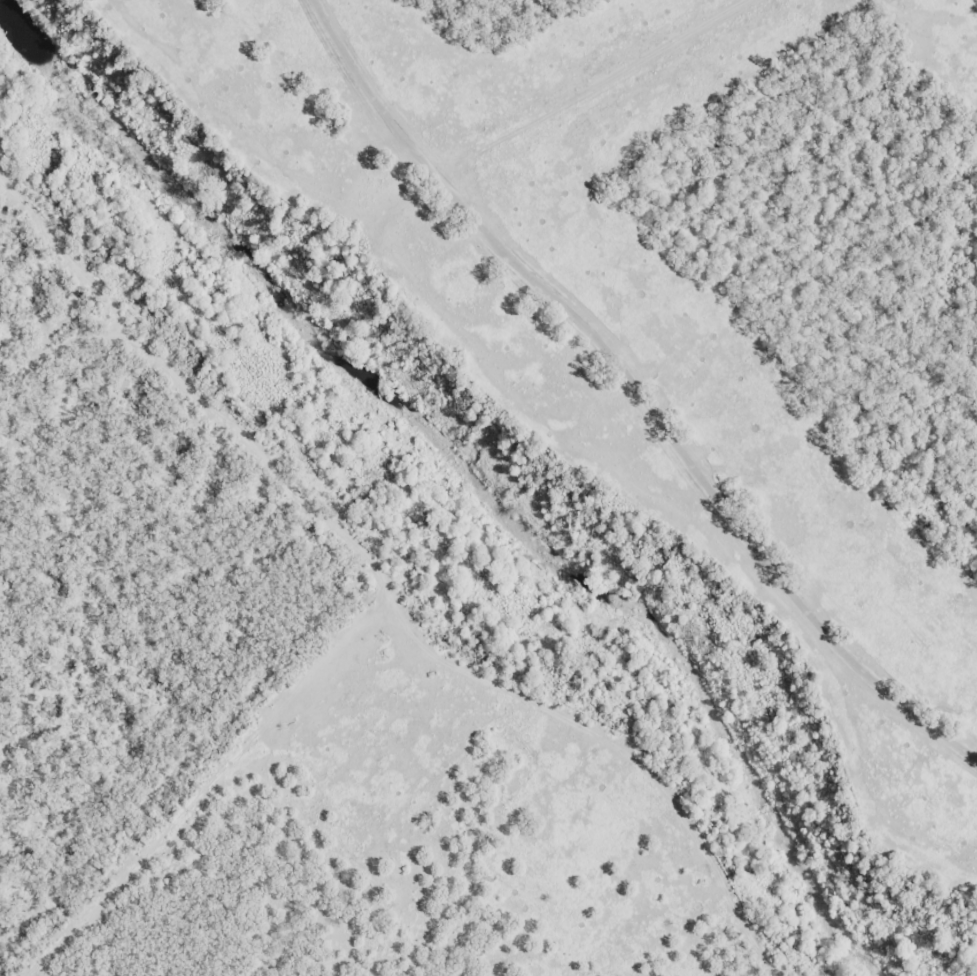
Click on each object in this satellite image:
road: (613, 406)
river: (468, 474)
road: (406, 628)

